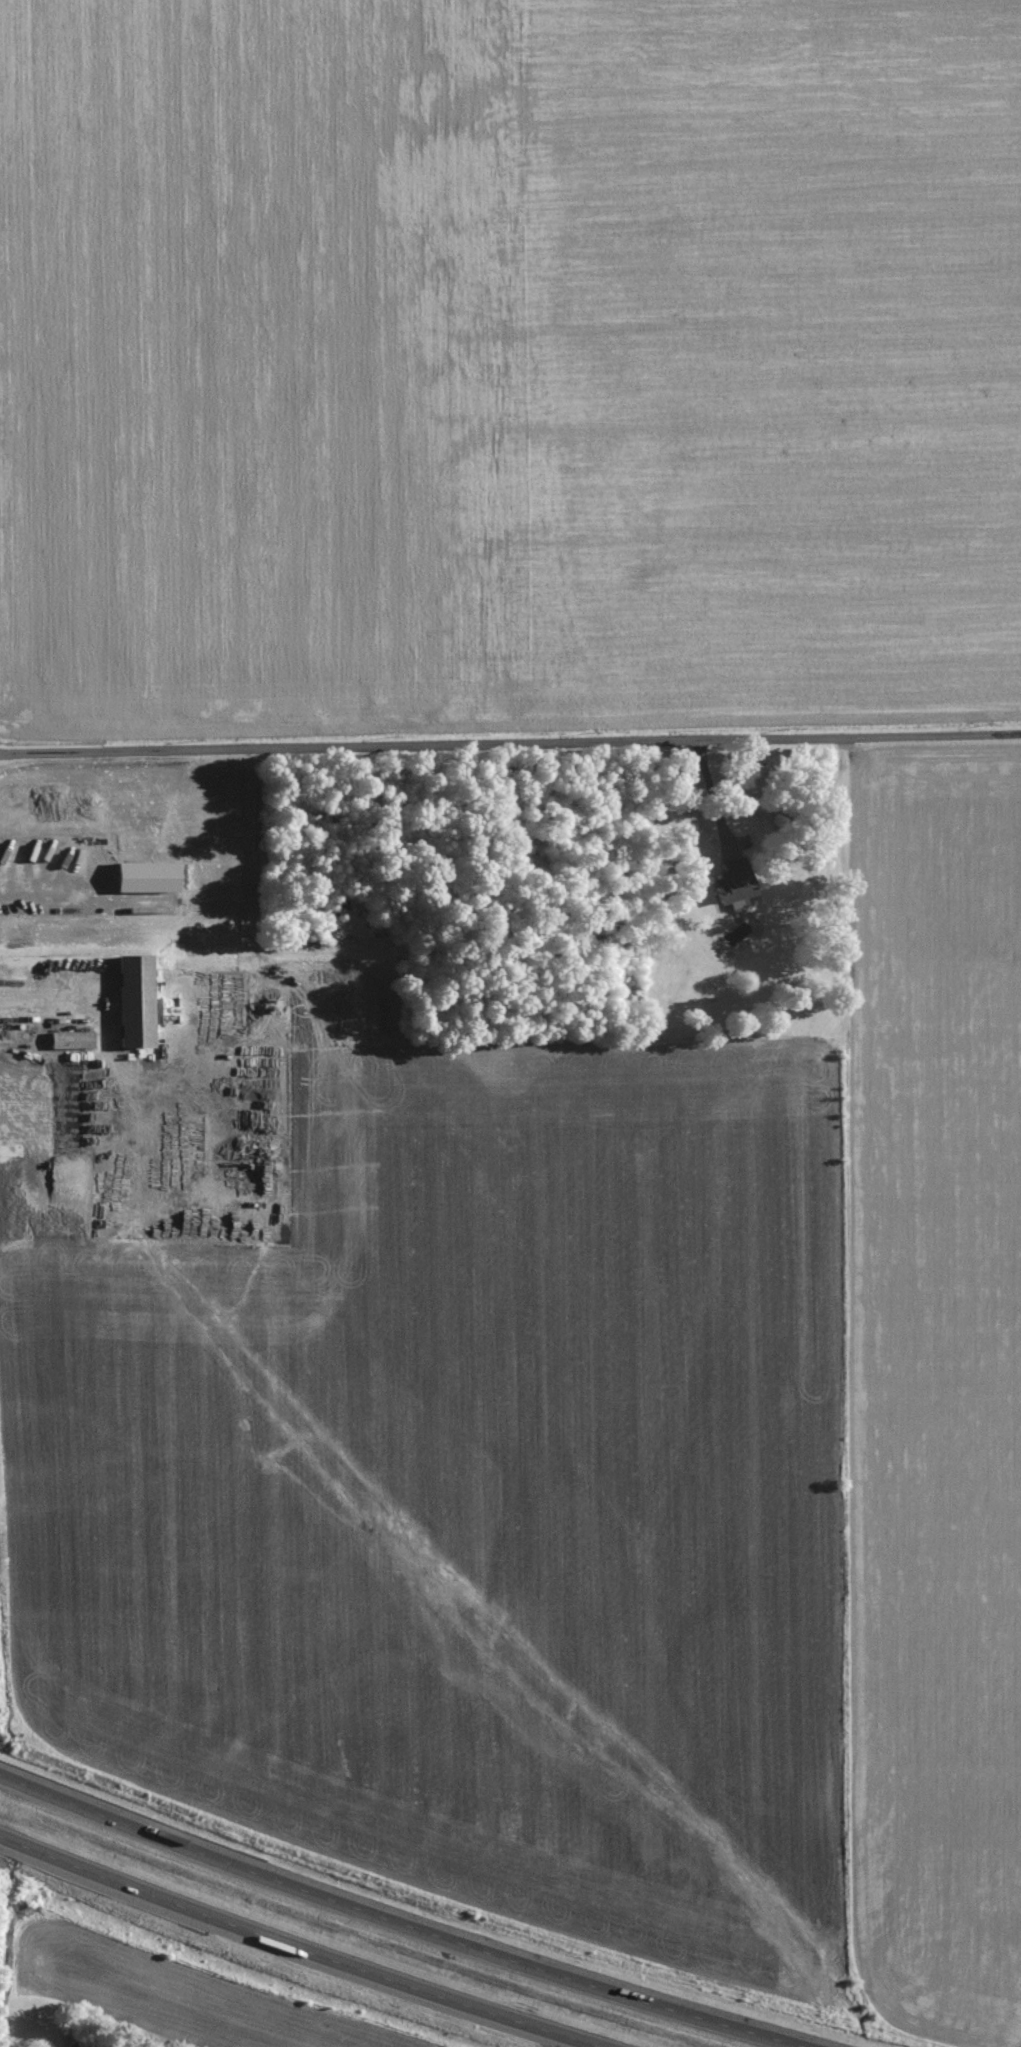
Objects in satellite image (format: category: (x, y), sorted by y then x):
road: (510, 736)
road: (712, 791)
building: (153, 877)
building: (143, 1001)
building: (75, 1040)
building: (13, 1106)
road: (394, 1920)
road: (292, 1950)

